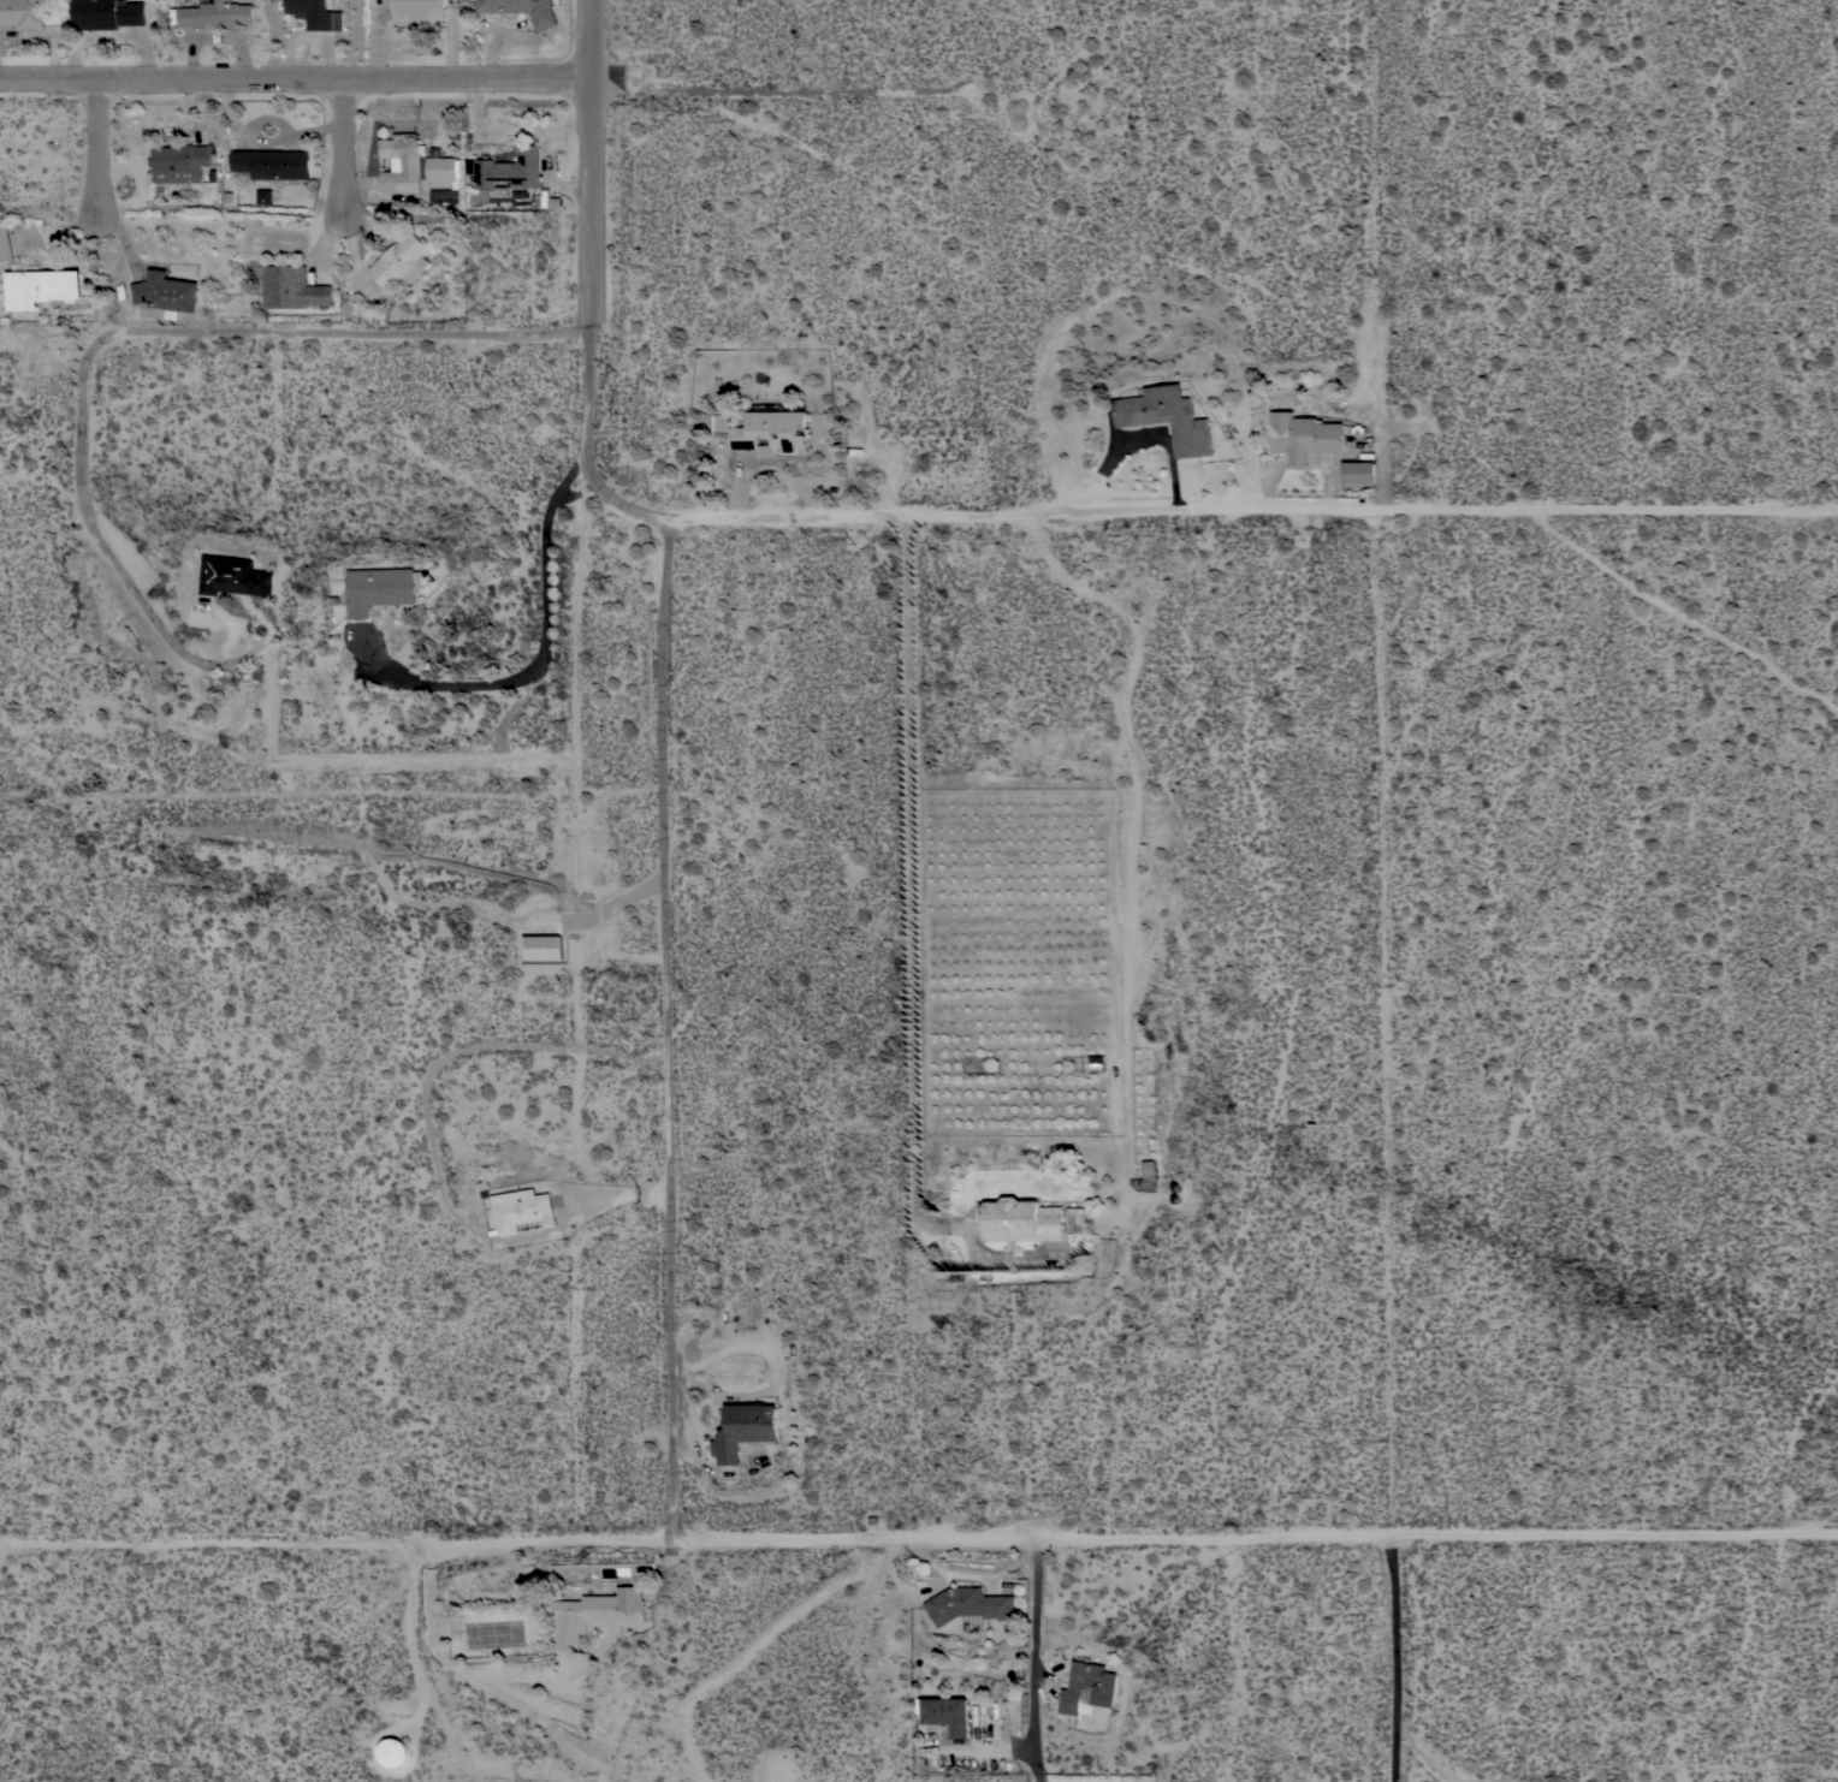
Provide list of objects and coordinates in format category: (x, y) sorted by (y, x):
building: (419, 10)
building: (523, 10)
building: (22, 12)
building: (107, 13)
building: (217, 13)
building: (316, 13)
road: (297, 77)
road: (351, 145)
road: (103, 147)
building: (180, 161)
building: (273, 162)
building: (403, 162)
building: (444, 170)
building: (511, 170)
building: (263, 195)
road: (595, 232)
building: (6, 244)
building: (403, 260)
building: (42, 286)
building: (294, 287)
building: (167, 292)
road: (121, 329)
building: (1168, 417)
building: (771, 430)
building: (1304, 435)
building: (1359, 473)
road: (629, 503)
road: (1256, 517)
building: (236, 576)
building: (383, 588)
road: (551, 659)
road: (915, 914)
building: (544, 946)
road: (674, 1032)
building: (1096, 1062)
road: (1389, 1151)
building: (1149, 1170)
building: (521, 1210)
building: (1022, 1220)
building: (1079, 1220)
building: (743, 1430)
road: (919, 1540)
road: (971, 1575)
building: (968, 1604)
building: (598, 1612)
road: (755, 1645)
road: (1036, 1661)
building: (1103, 1687)
building: (948, 1715)
building: (392, 1752)
road: (1419, 1754)

